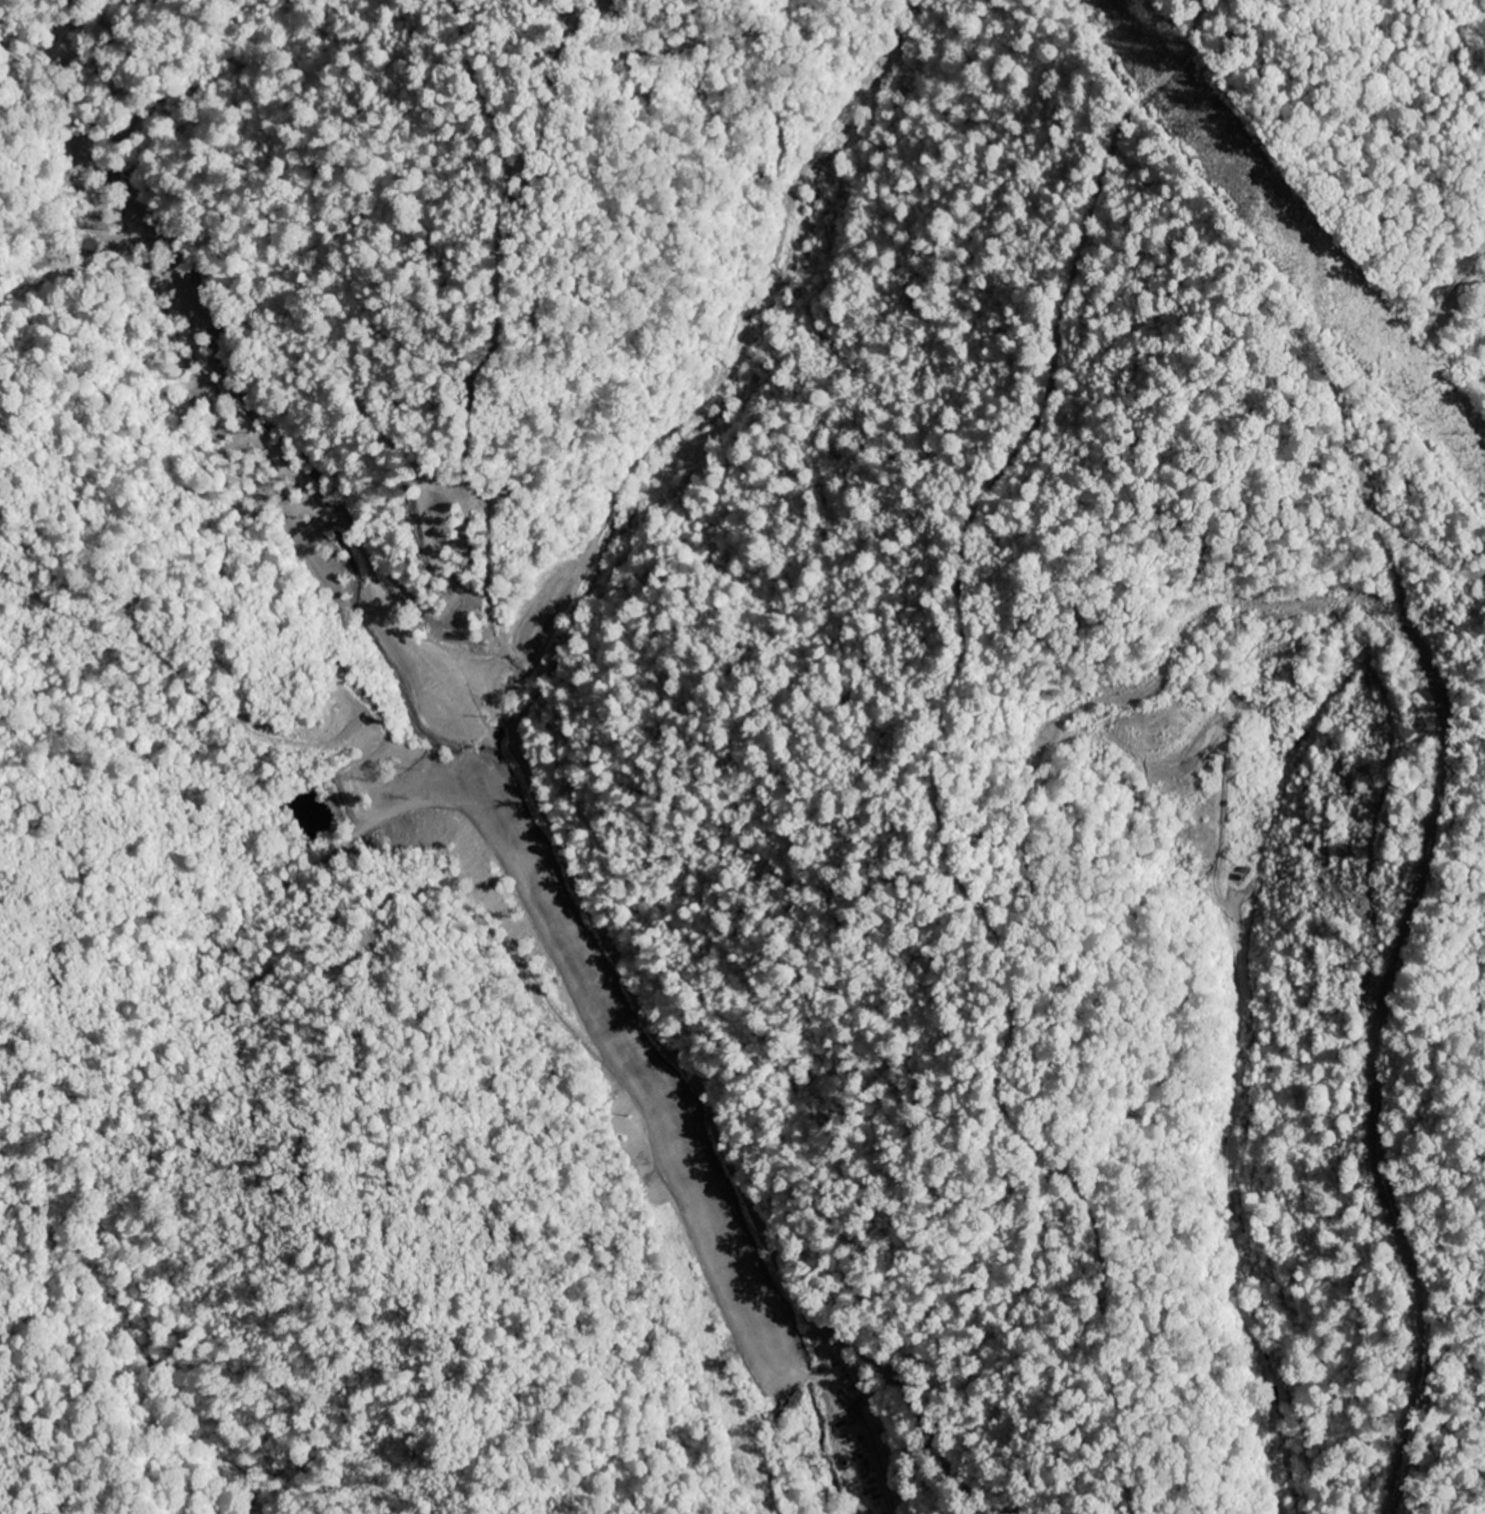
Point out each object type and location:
power tower: (1266, 200)

